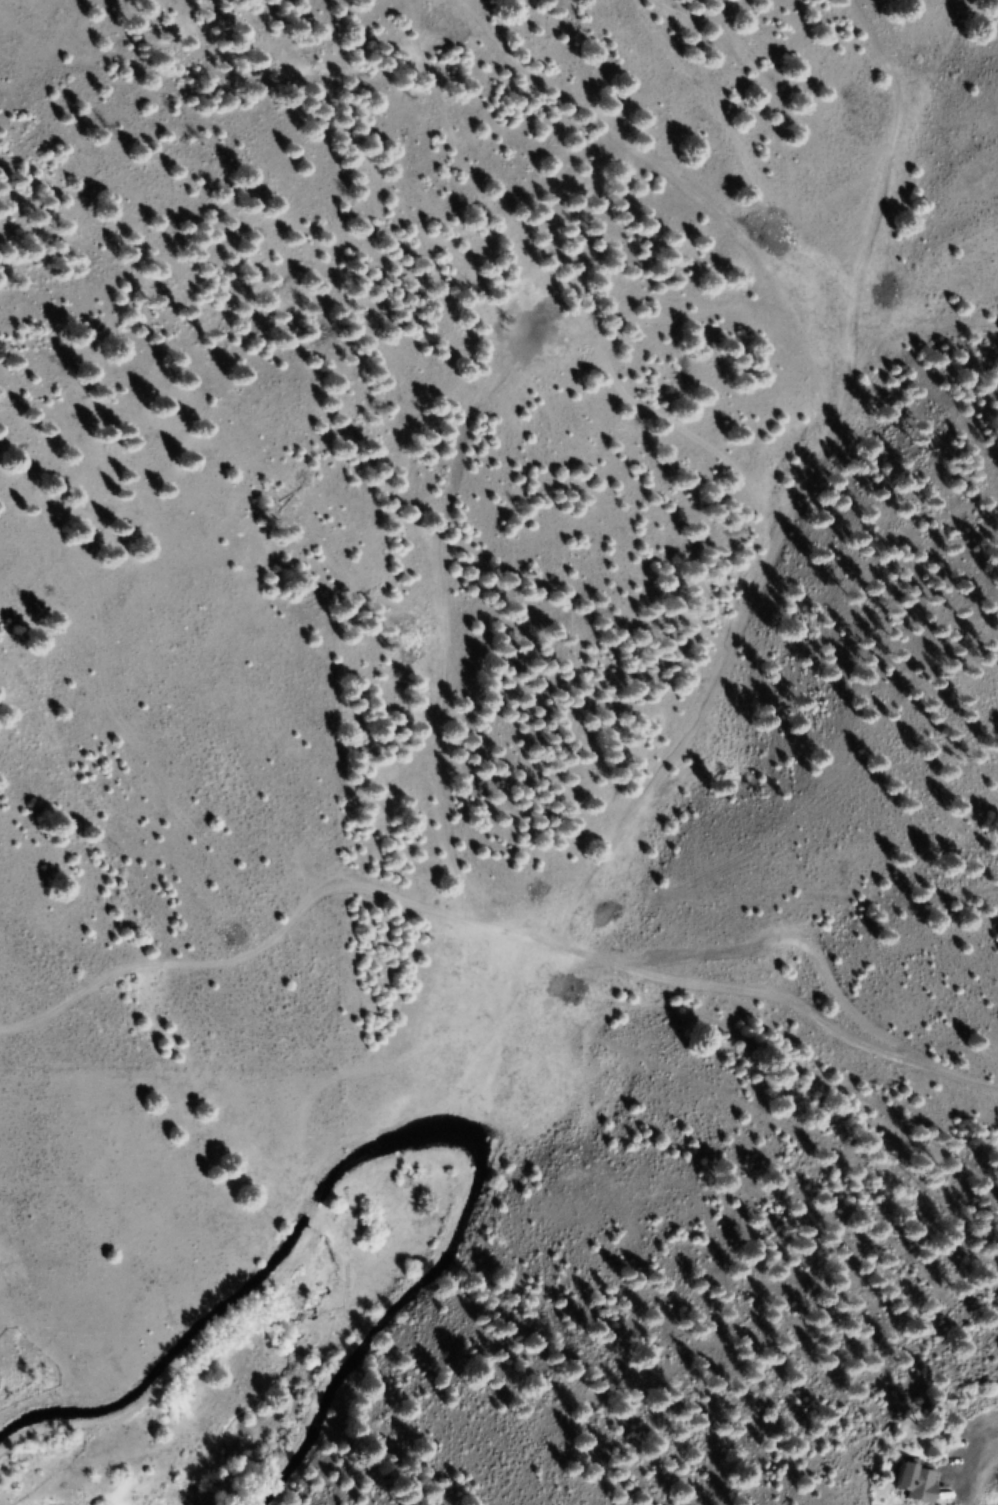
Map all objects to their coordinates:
road: (639, 685)
building: (919, 1481)

